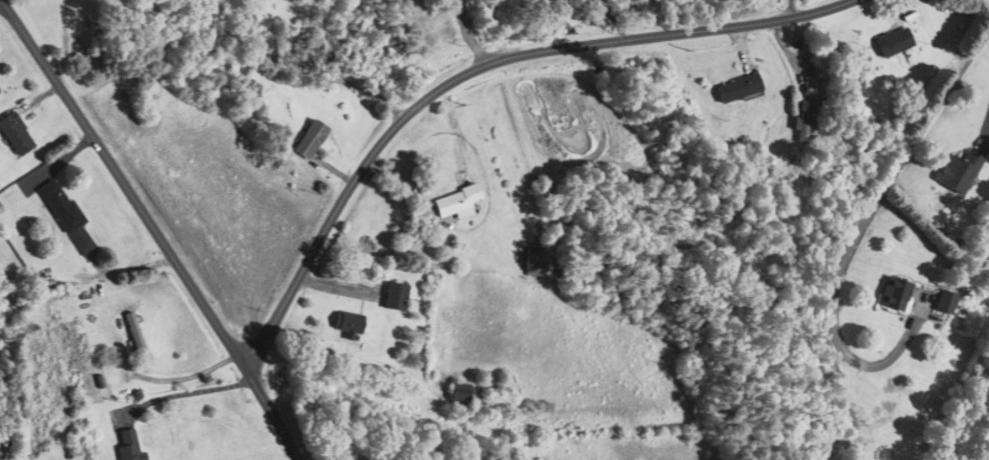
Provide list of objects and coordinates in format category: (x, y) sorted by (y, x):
road: (987, 2)
road: (788, 9)
road: (473, 33)
road: (380, 42)
building: (892, 42)
road: (477, 69)
building: (736, 88)
building: (803, 120)
road: (985, 130)
building: (14, 136)
building: (310, 140)
building: (957, 172)
building: (456, 203)
building: (65, 216)
road: (864, 223)
road: (152, 227)
building: (532, 263)
building: (891, 295)
building: (393, 296)
building: (942, 302)
building: (346, 324)
building: (137, 336)
building: (116, 341)
road: (182, 393)
building: (457, 395)
building: (126, 445)

